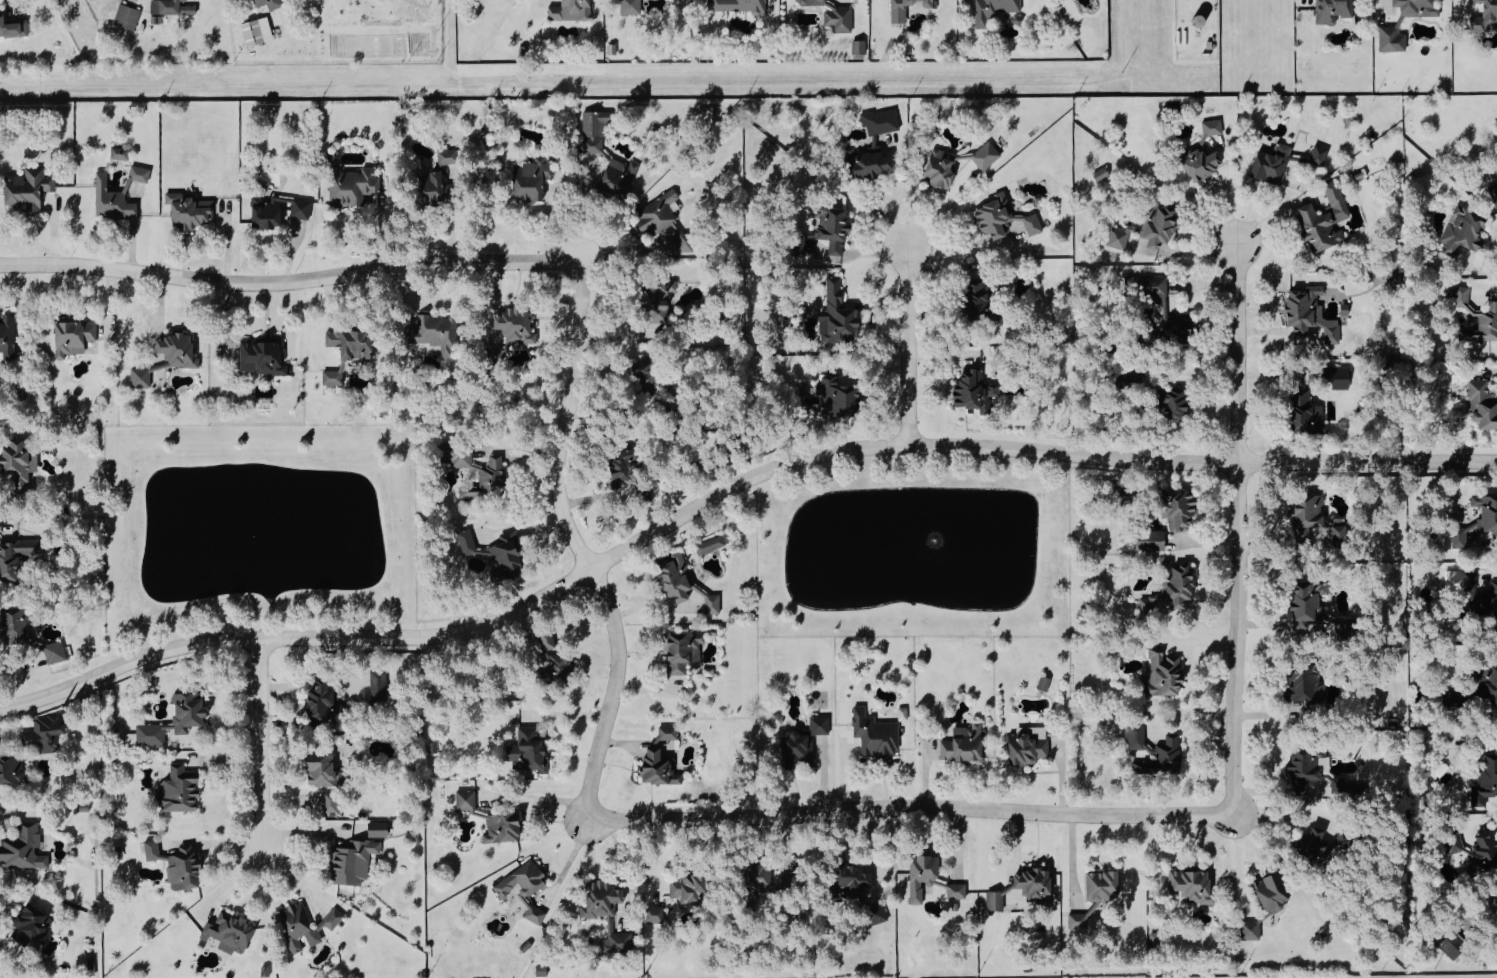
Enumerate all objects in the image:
building: (242, 0)
building: (270, 4)
building: (740, 5)
building: (909, 9)
building: (996, 10)
building: (188, 11)
building: (572, 11)
building: (1334, 11)
building: (834, 15)
building: (1485, 17)
building: (126, 18)
building: (1401, 21)
building: (13, 29)
building: (256, 33)
building: (860, 48)
building: (882, 121)
building: (1213, 127)
building: (120, 154)
building: (449, 156)
building: (987, 156)
building: (1320, 156)
building: (1205, 159)
building: (1273, 163)
building: (871, 164)
building: (941, 169)
building: (140, 174)
building: (1102, 174)
building: (532, 178)
building: (352, 184)
building: (435, 184)
building: (29, 188)
building: (1495, 191)
building: (113, 200)
building: (302, 209)
building: (189, 210)
building: (266, 213)
building: (659, 213)
building: (1006, 218)
building: (1326, 219)
building: (833, 227)
building: (1149, 228)
building: (1465, 229)
building: (687, 242)
building: (800, 244)
road: (1188, 252)
building: (1395, 279)
road: (290, 281)
building: (1152, 287)
building: (659, 296)
building: (977, 297)
building: (1483, 312)
building: (1311, 313)
building: (838, 314)
building: (517, 324)
building: (1181, 327)
building: (8, 333)
building: (437, 333)
building: (74, 336)
building: (351, 342)
road: (907, 347)
building: (179, 350)
road: (1238, 354)
building: (263, 357)
building: (645, 374)
building: (1338, 376)
building: (141, 377)
building: (331, 379)
building: (976, 391)
building: (841, 397)
building: (1175, 402)
building: (1483, 405)
road: (615, 409)
building: (1308, 414)
building: (458, 454)
building: (20, 462)
building: (624, 464)
building: (493, 473)
building: (468, 492)
road: (724, 494)
building: (1180, 509)
building: (1489, 516)
building: (1318, 520)
park: (257, 533)
building: (1151, 540)
road: (578, 544)
building: (709, 546)
building: (497, 553)
park: (916, 555)
building: (14, 558)
building: (1173, 590)
building: (1480, 594)
building: (1309, 602)
building: (15, 624)
road: (1238, 640)
building: (684, 651)
building: (55, 652)
building: (554, 659)
building: (1165, 674)
building: (1487, 682)
building: (379, 684)
building: (1043, 684)
building: (1307, 684)
building: (1452, 700)
building: (323, 704)
building: (175, 720)
building: (45, 734)
building: (876, 734)
building: (1136, 737)
building: (805, 742)
building: (965, 744)
road: (261, 747)
building: (1029, 747)
building: (529, 751)
building: (1170, 754)
building: (662, 760)
building: (1307, 766)
building: (12, 769)
building: (324, 770)
building: (1486, 781)
building: (179, 791)
building: (467, 800)
building: (332, 803)
road: (908, 810)
building: (504, 828)
building: (377, 830)
building: (417, 840)
building: (1316, 844)
building: (24, 849)
building: (153, 850)
building: (353, 862)
road: (1240, 864)
building: (184, 868)
building: (760, 875)
building: (923, 878)
building: (851, 880)
building: (1104, 885)
building: (690, 886)
building: (1194, 886)
building: (525, 887)
building: (1025, 887)
building: (958, 891)
building: (1273, 893)
building: (603, 899)
building: (877, 914)
building: (1080, 922)
building: (32, 923)
building: (304, 925)
building: (1251, 931)
building: (230, 933)
building: (625, 938)
road: (6, 945)
building: (1454, 945)
building: (264, 972)

